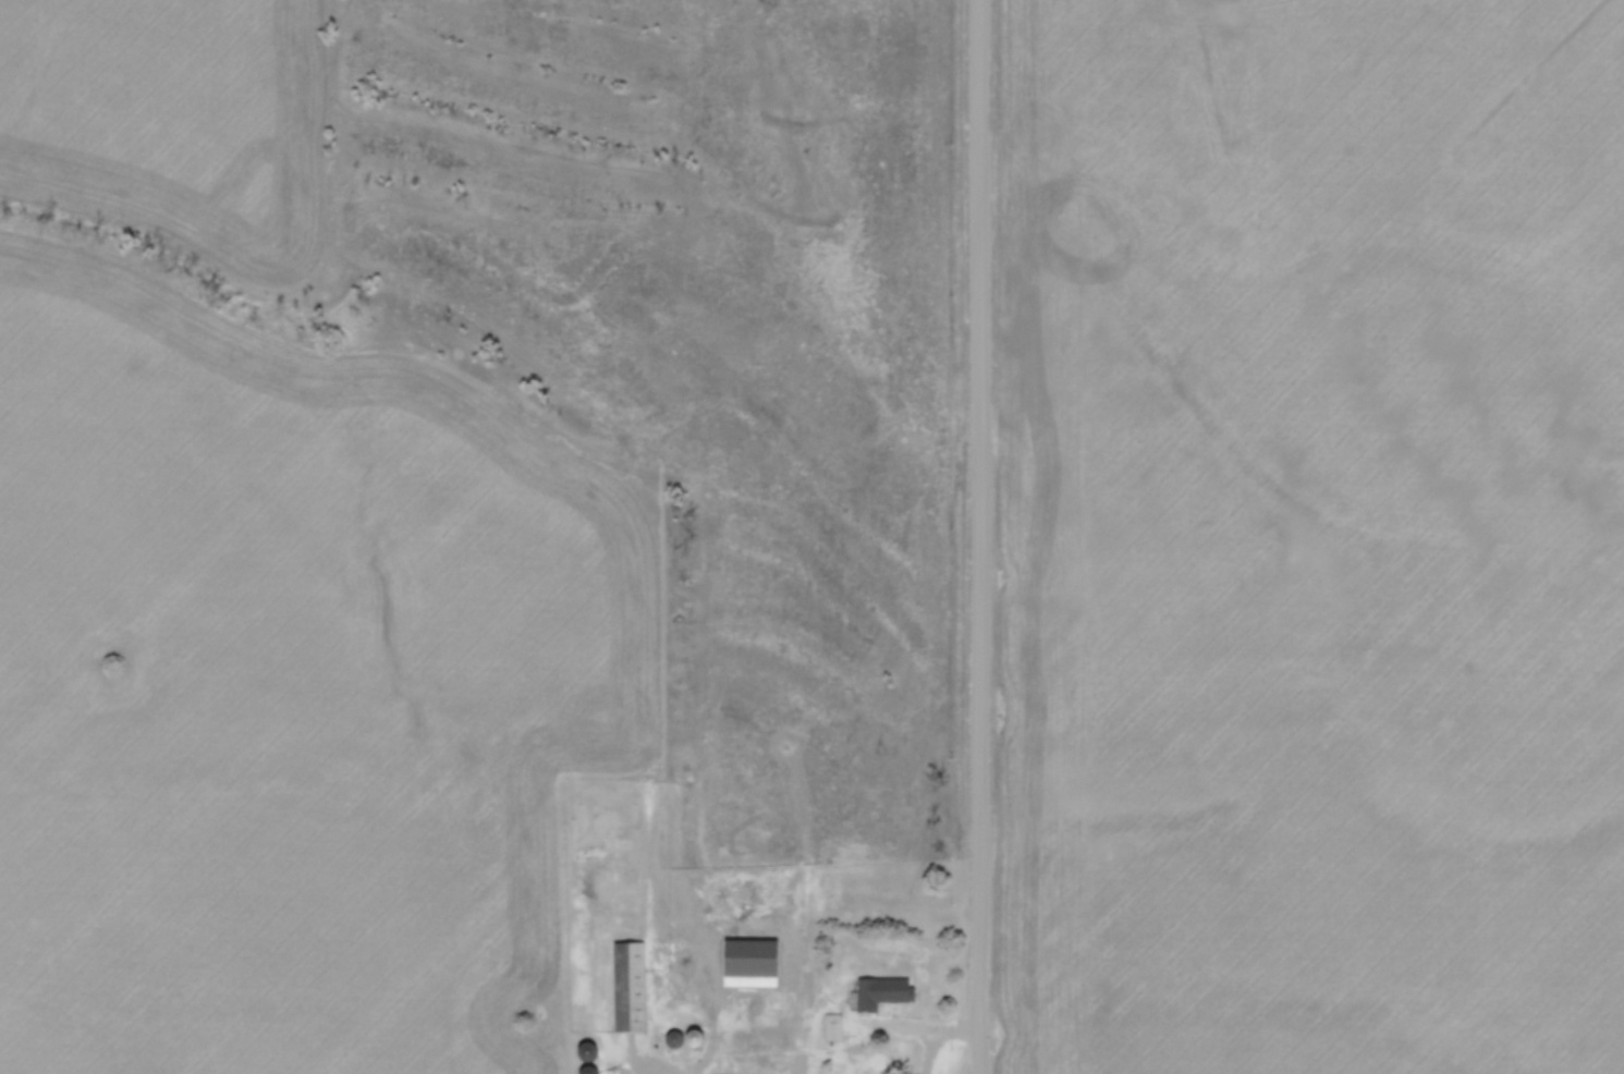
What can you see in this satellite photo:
crop: (175, 119)
road: (985, 537)
crop: (1314, 537)
crop: (291, 693)
building: (625, 987)
building: (882, 992)
building: (773, 998)
road: (881, 1025)
building: (833, 1028)
building: (672, 1039)
silo: (672, 1039)
building: (693, 1039)
silo: (693, 1039)
road: (949, 1041)
building: (582, 1052)
silo: (582, 1052)
building: (585, 1071)
silo: (585, 1071)

